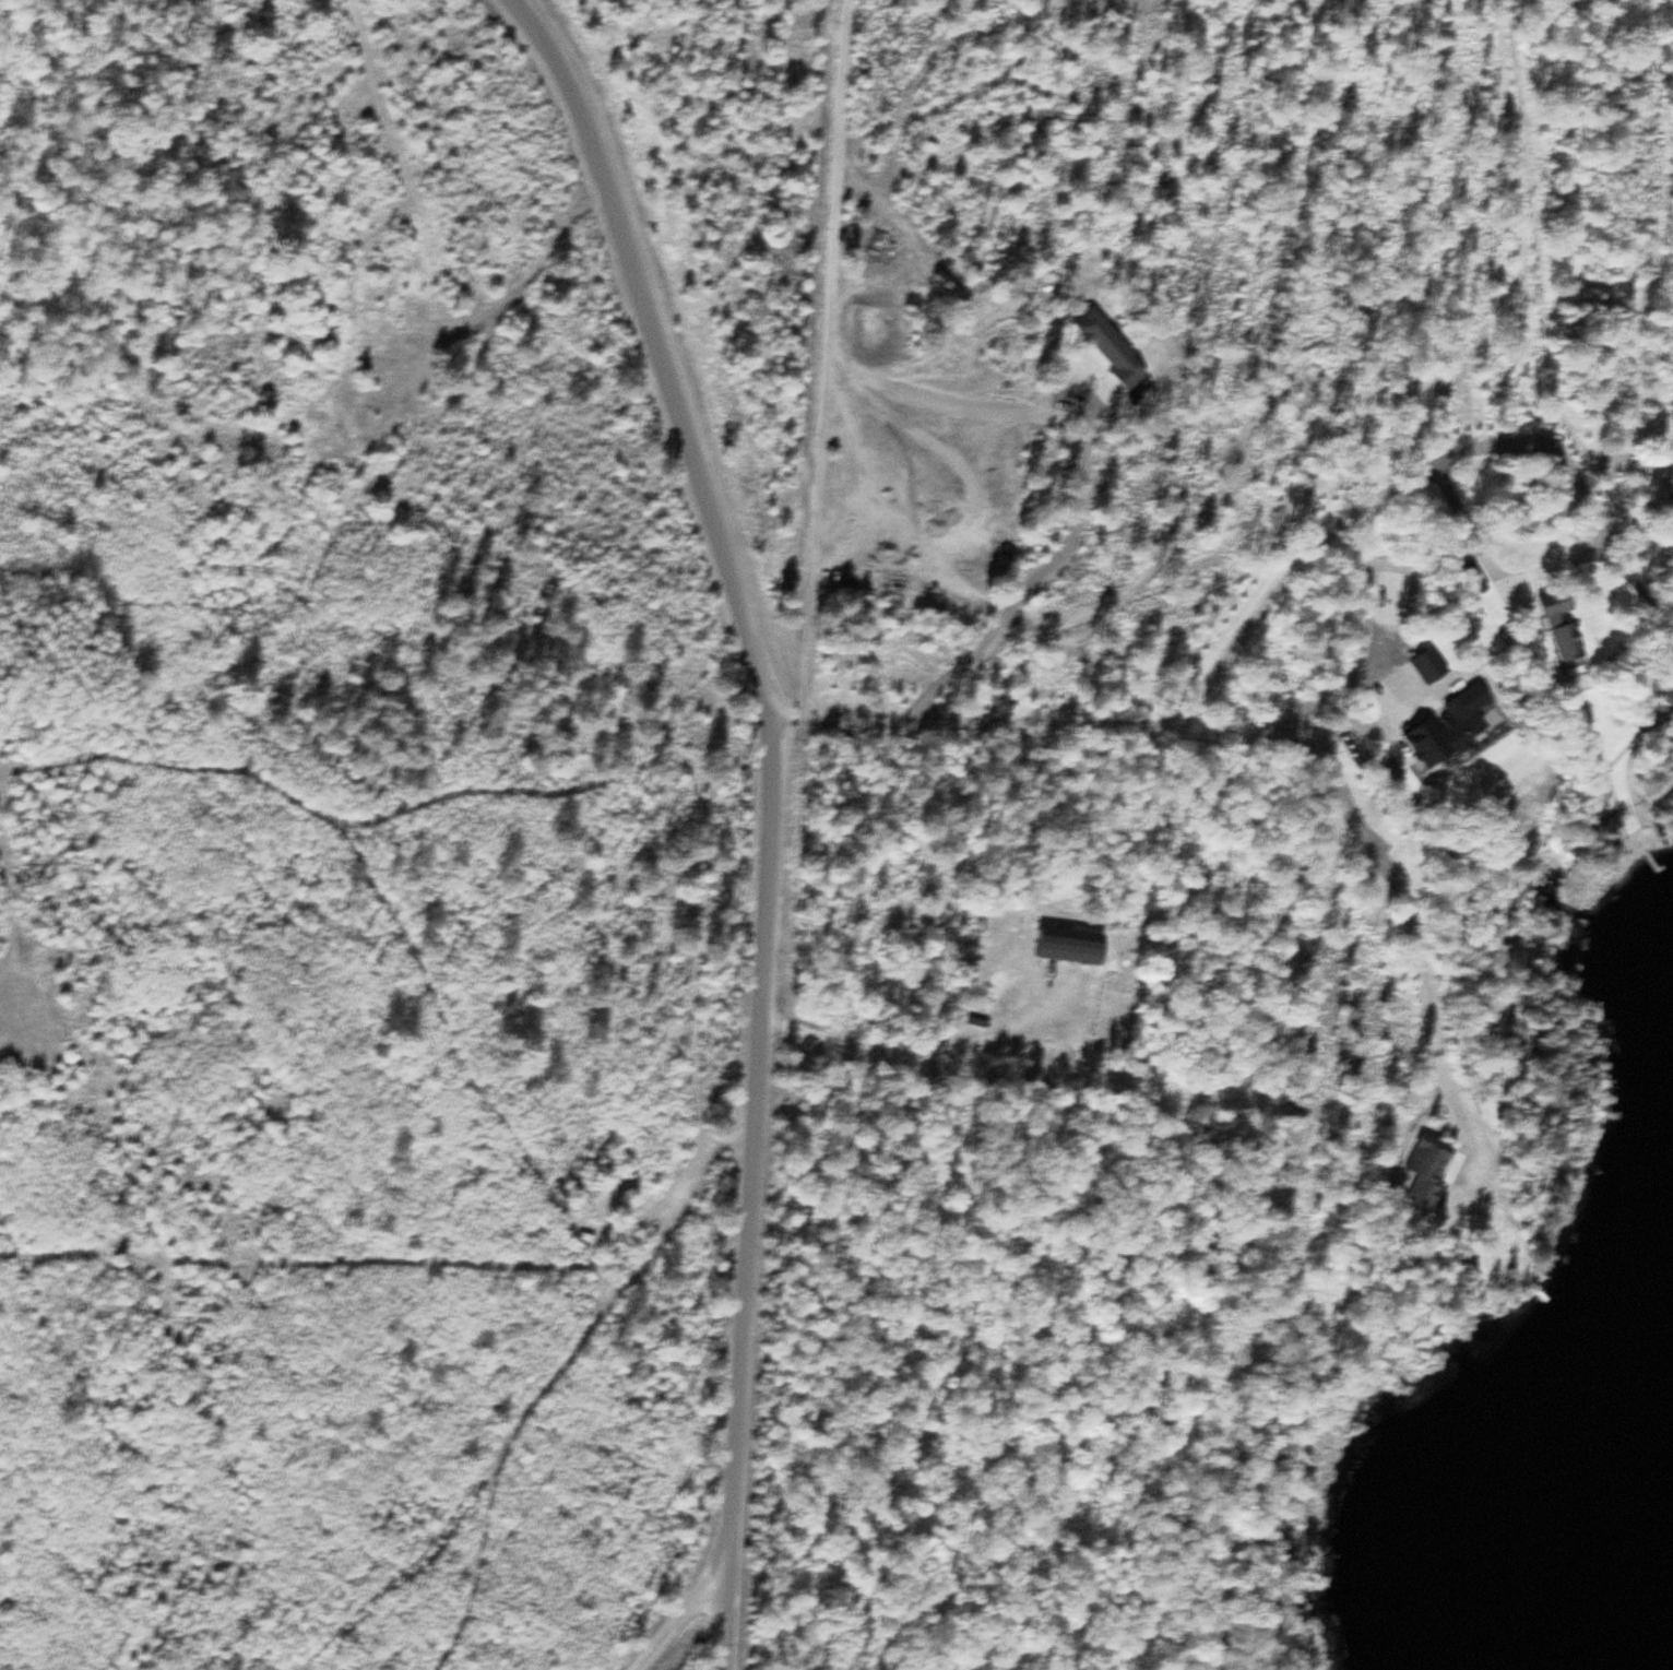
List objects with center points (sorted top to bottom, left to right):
road: (1535, 241)
building: (1110, 344)
road: (658, 355)
road: (824, 359)
road: (1105, 387)
road: (1652, 448)
road: (1616, 457)
road: (1652, 464)
road: (1626, 500)
road: (1657, 543)
road: (1483, 552)
road: (1306, 559)
road: (1035, 571)
road: (1526, 597)
building: (1570, 626)
road: (1657, 665)
building: (1437, 676)
road: (1658, 709)
building: (1476, 712)
road: (1391, 714)
road: (978, 721)
road: (1251, 729)
road: (173, 762)
road: (1417, 938)
building: (1070, 941)
road: (906, 1044)
road: (696, 1087)
road: (757, 1141)
building: (1424, 1173)
road: (688, 1615)
road: (731, 1615)

